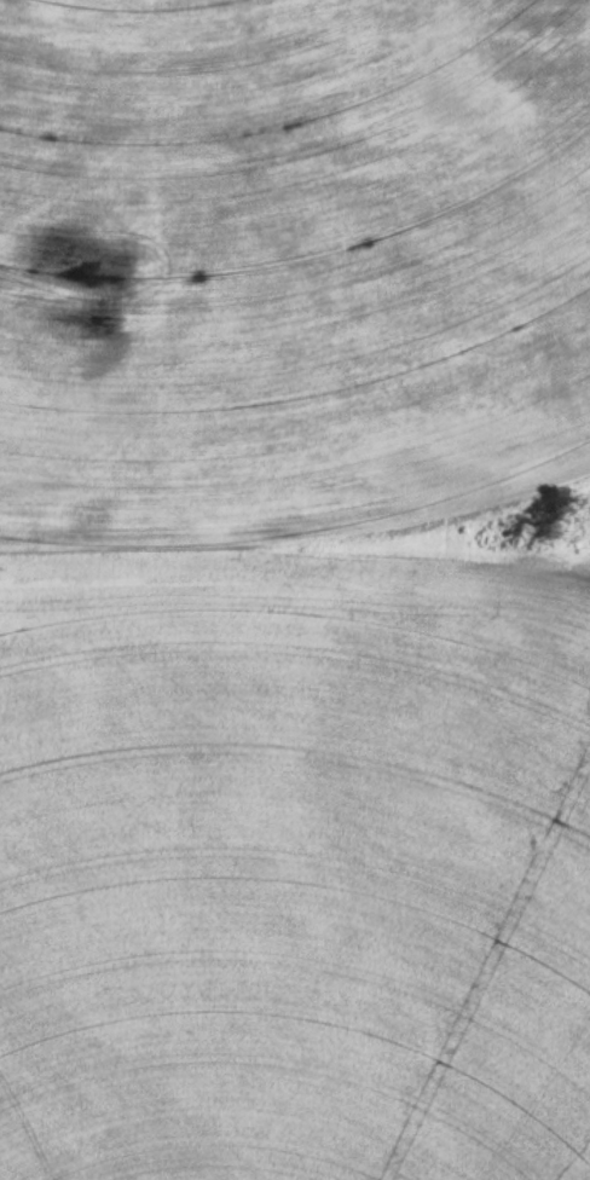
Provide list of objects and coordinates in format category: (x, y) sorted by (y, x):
wastewater plant: (295, 590)

